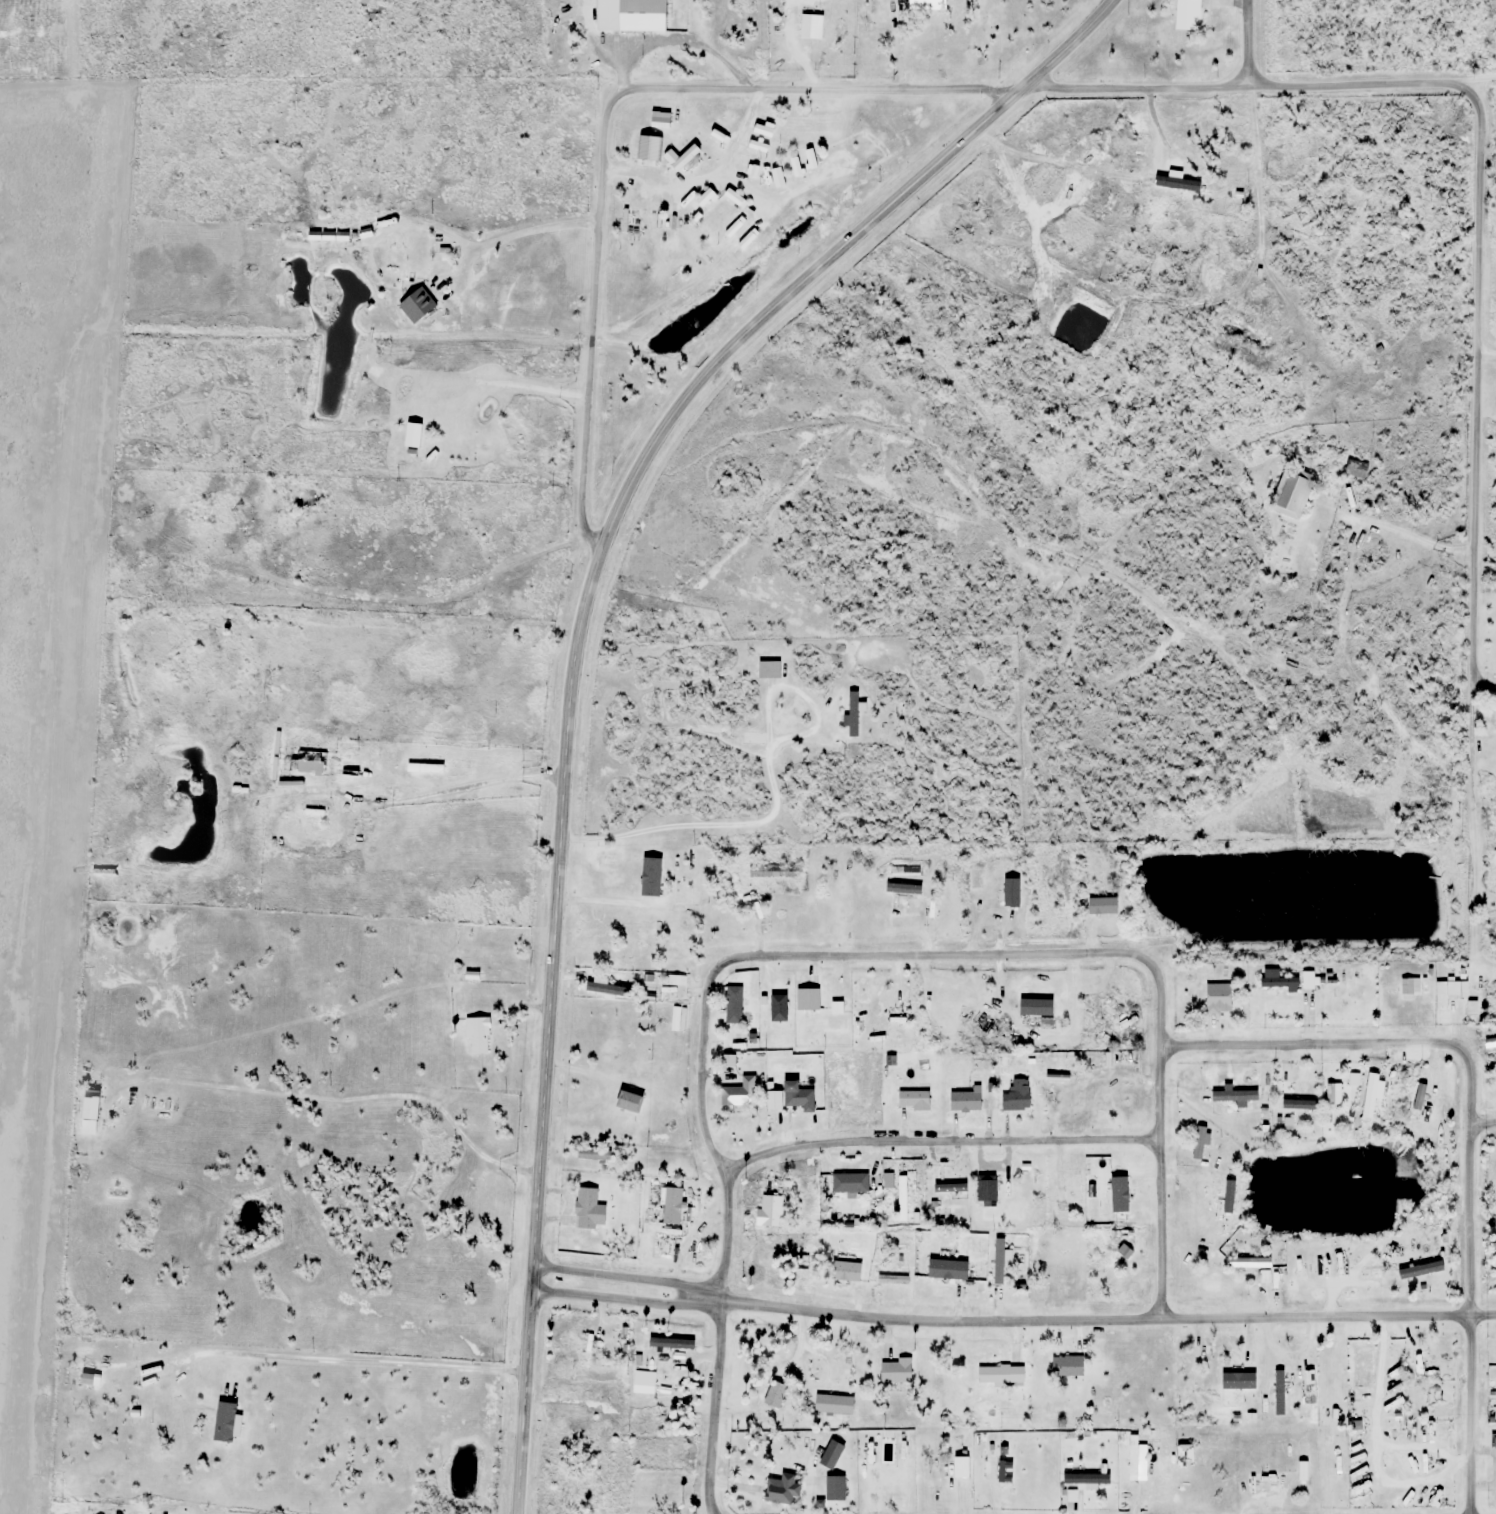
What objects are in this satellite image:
building: (921, 2)
building: (1190, 15)
building: (807, 25)
road: (1243, 40)
road: (1469, 79)
road: (605, 117)
road: (706, 179)
building: (633, 219)
road: (1478, 224)
road: (531, 231)
building: (671, 236)
building: (416, 257)
building: (416, 305)
building: (1356, 469)
building: (161, 490)
building: (1291, 493)
building: (200, 514)
road: (405, 602)
road: (572, 651)
building: (772, 670)
road: (1483, 682)
building: (852, 714)
building: (301, 760)
building: (262, 770)
building: (423, 772)
road: (342, 795)
road: (776, 799)
building: (315, 807)
building: (772, 871)
building: (987, 877)
building: (683, 889)
building: (909, 889)
building: (1011, 893)
road: (604, 902)
building: (1102, 906)
building: (708, 915)
building: (655, 938)
road: (1115, 952)
building: (1278, 980)
building: (1309, 980)
building: (1448, 991)
building: (807, 999)
building: (1218, 999)
building: (771, 1003)
building: (1114, 1007)
building: (733, 1011)
building: (1036, 1012)
building: (965, 1014)
building: (894, 1017)
building: (984, 1027)
building: (1103, 1033)
building: (475, 1034)
road: (1350, 1044)
building: (1124, 1058)
building: (1067, 1081)
building: (1116, 1091)
building: (1286, 1091)
building: (1333, 1094)
building: (1372, 1094)
building: (797, 1096)
building: (1016, 1096)
building: (1234, 1097)
building: (913, 1098)
building: (737, 1099)
road: (333, 1100)
building: (628, 1101)
building: (965, 1101)
building: (1418, 1102)
building: (89, 1110)
road: (1485, 1123)
road: (939, 1141)
building: (1199, 1143)
building: (593, 1154)
building: (1208, 1181)
building: (851, 1183)
building: (1119, 1187)
building: (1070, 1188)
building: (946, 1189)
building: (987, 1190)
building: (900, 1195)
building: (670, 1206)
building: (586, 1208)
building: (769, 1210)
road: (723, 1233)
building: (662, 1246)
building: (1249, 1263)
building: (1335, 1268)
building: (947, 1269)
building: (845, 1271)
building: (1054, 1271)
road: (1469, 1318)
road: (1010, 1320)
road: (349, 1361)
building: (1421, 1363)
building: (1066, 1367)
building: (895, 1372)
building: (88, 1375)
building: (1001, 1375)
building: (1287, 1377)
road: (563, 1393)
building: (1221, 1394)
building: (180, 1431)
building: (1493, 1442)
building: (989, 1468)
building: (957, 1474)
building: (96, 1511)
building: (114, 1512)
building: (142, 1513)

